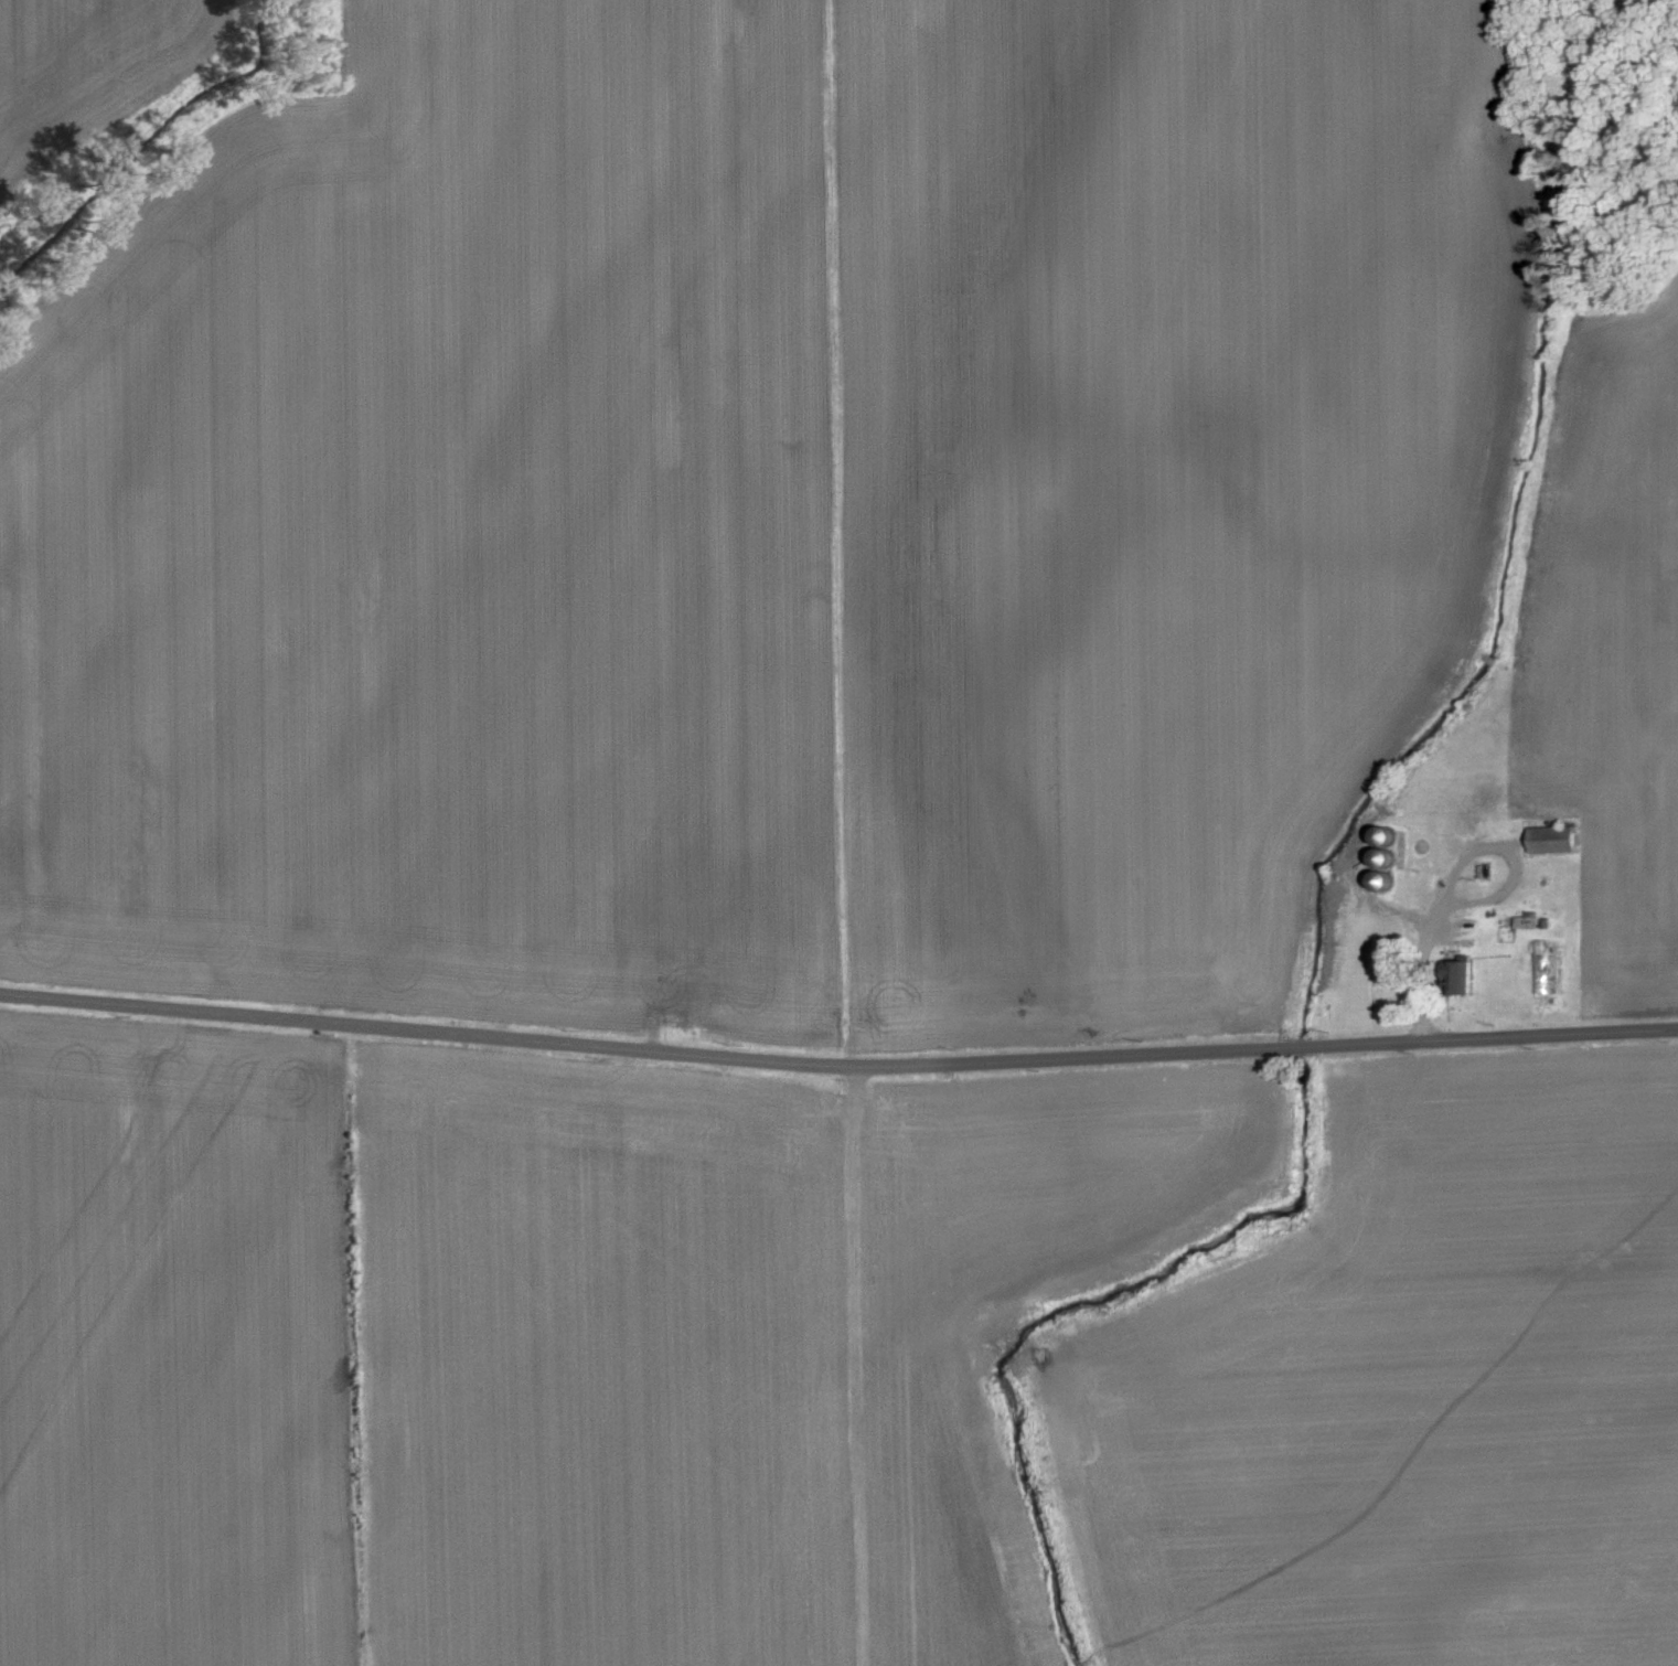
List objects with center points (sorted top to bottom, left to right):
building: (1551, 839)
road: (1455, 872)
building: (1529, 919)
building: (1456, 975)
road: (837, 1064)

